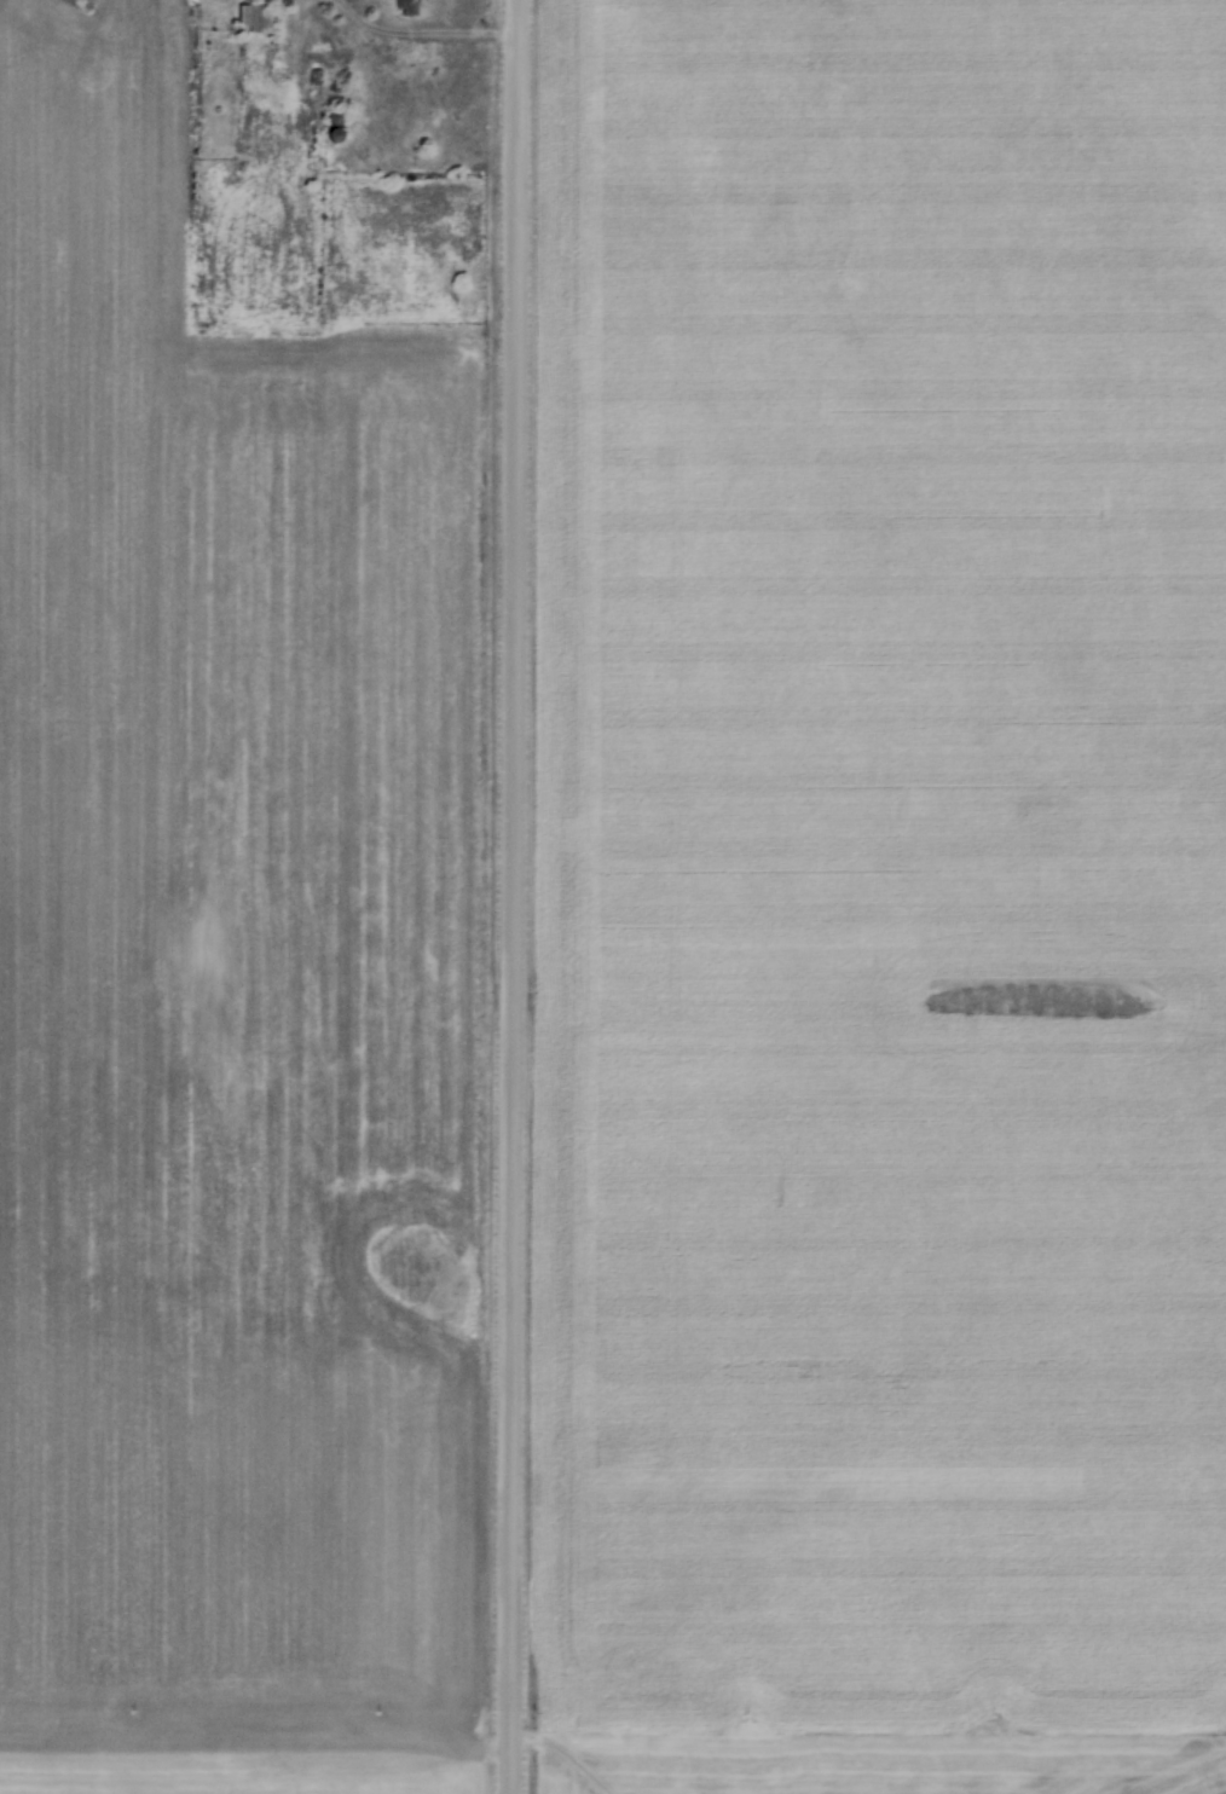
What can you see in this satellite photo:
building: (255, 19)
road: (511, 896)
crop: (880, 898)
crop: (162, 1100)

